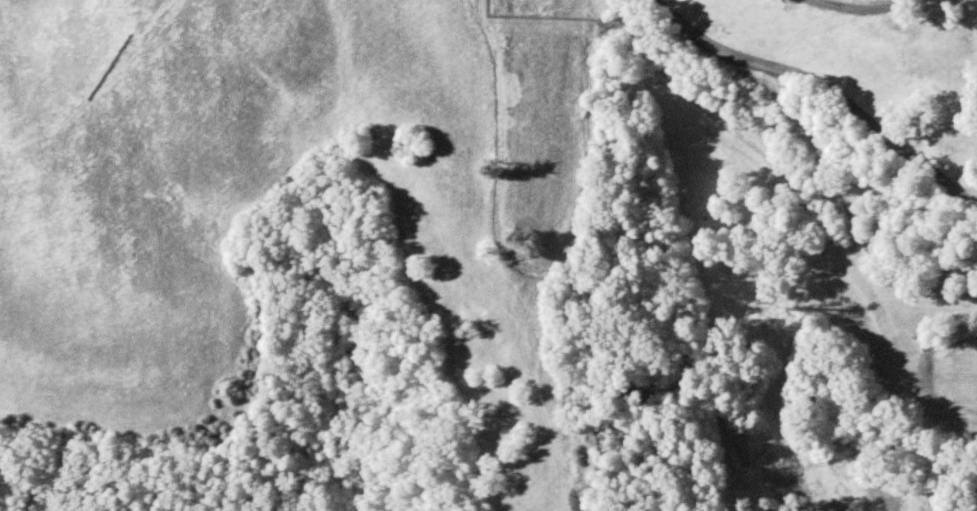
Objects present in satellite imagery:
road: (859, 10)
road: (824, 87)
park: (855, 107)

